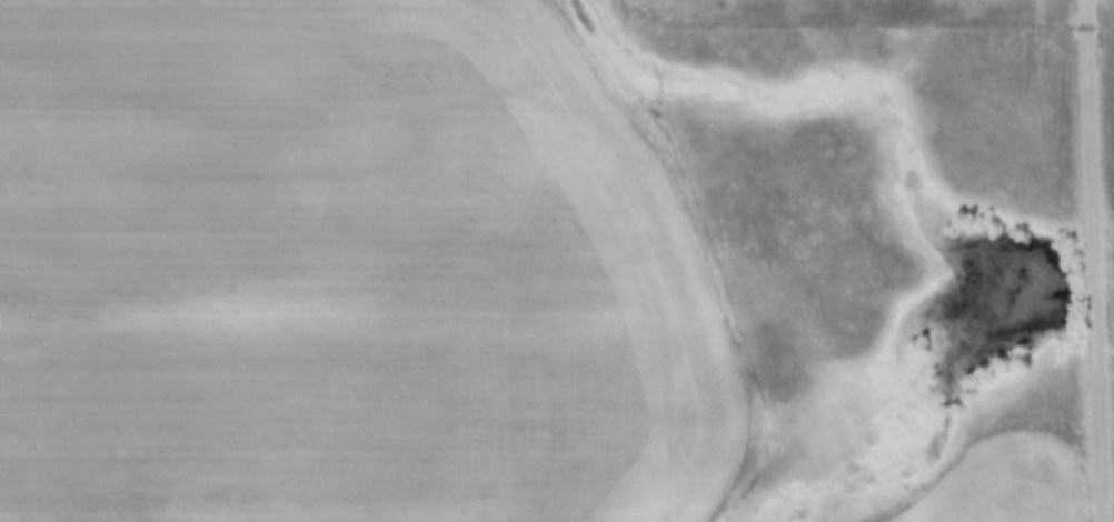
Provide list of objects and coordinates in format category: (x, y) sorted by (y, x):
road: (1092, 260)

